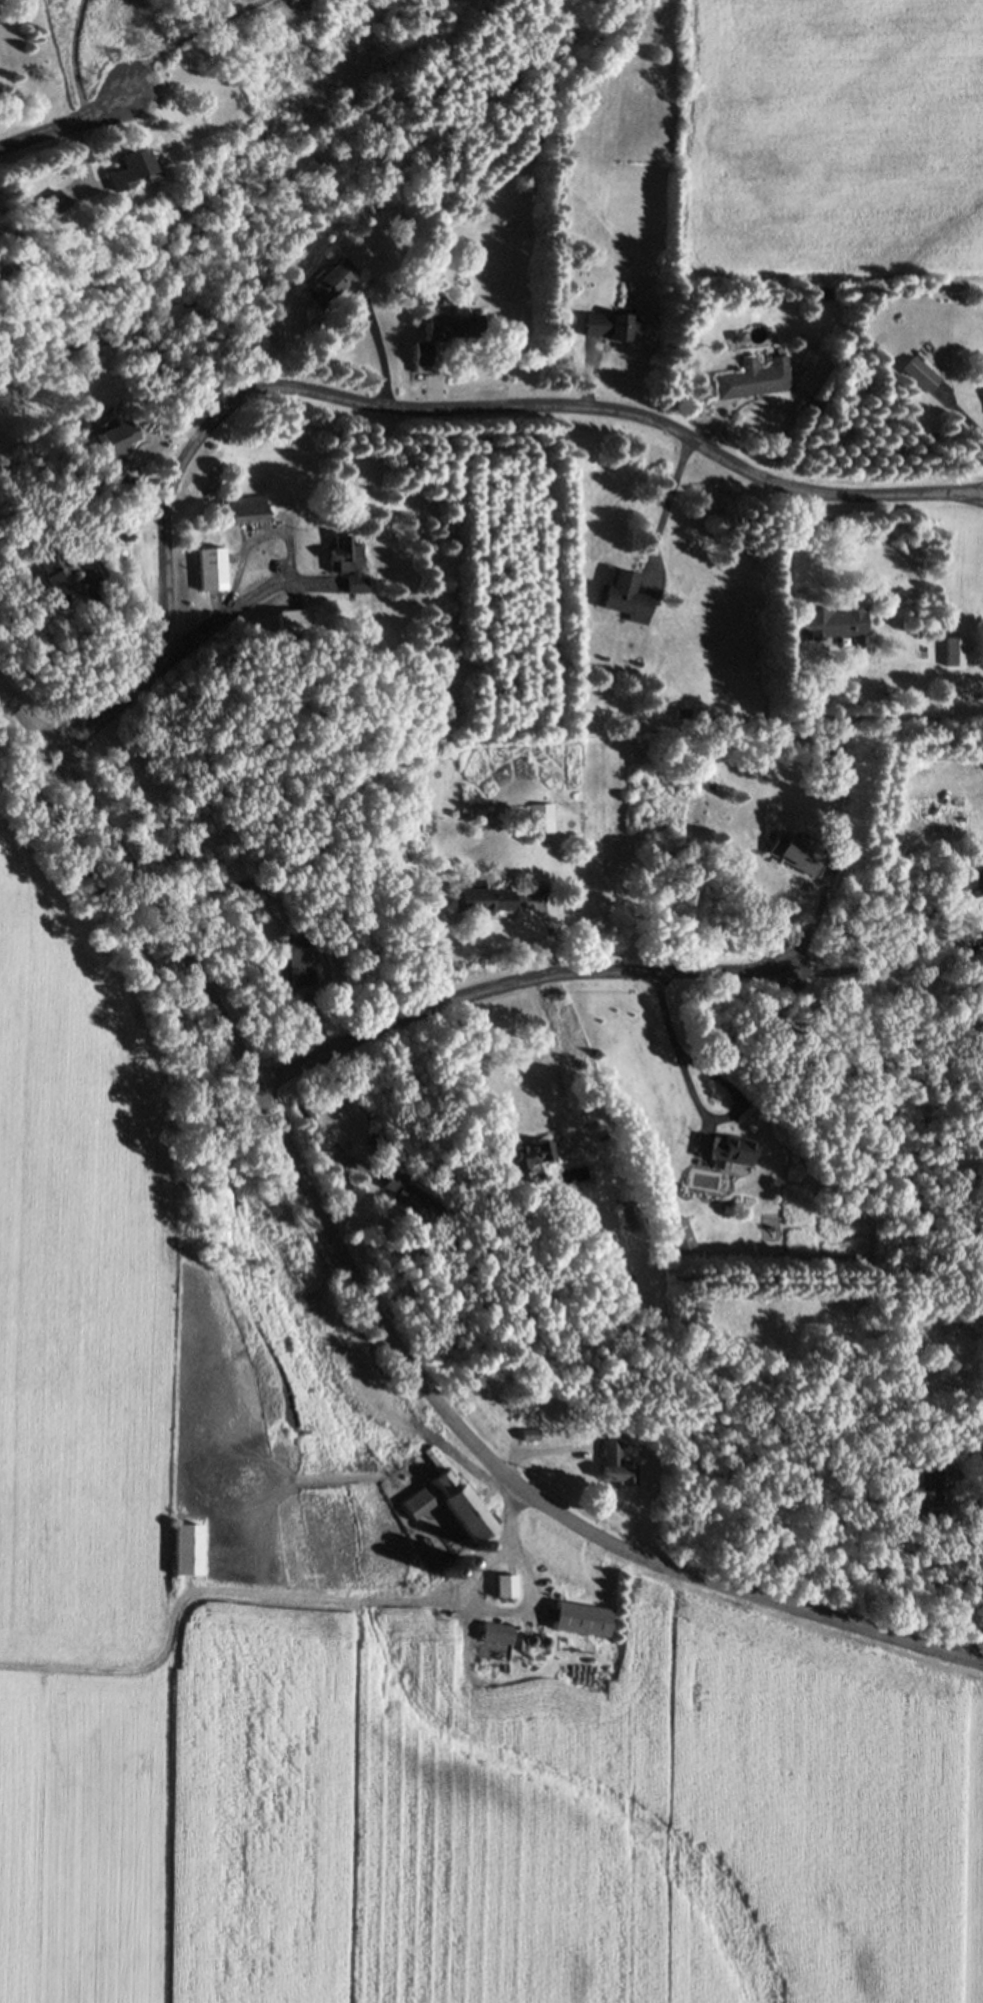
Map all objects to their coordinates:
road: (187, 35)
road: (71, 59)
road: (69, 123)
crop: (833, 140)
building: (128, 169)
building: (462, 195)
building: (46, 205)
building: (326, 285)
building: (824, 293)
building: (610, 324)
building: (446, 333)
road: (379, 345)
building: (922, 373)
building: (752, 378)
road: (474, 408)
building: (110, 437)
road: (665, 509)
building: (244, 513)
road: (817, 548)
building: (348, 564)
building: (210, 571)
building: (62, 573)
building: (627, 595)
building: (294, 623)
building: (832, 624)
road: (166, 662)
building: (542, 816)
building: (795, 850)
building: (482, 897)
road: (814, 920)
road: (900, 940)
building: (300, 960)
road: (523, 982)
road: (673, 1049)
road: (551, 1060)
building: (381, 1145)
building: (724, 1149)
building: (526, 1155)
building: (416, 1198)
building: (630, 1215)
building: (679, 1233)
road: (372, 1311)
building: (529, 1432)
building: (617, 1462)
building: (923, 1492)
building: (452, 1503)
building: (189, 1548)
road: (976, 1565)
building: (505, 1586)
building: (583, 1621)
building: (497, 1633)
crop: (364, 1643)

